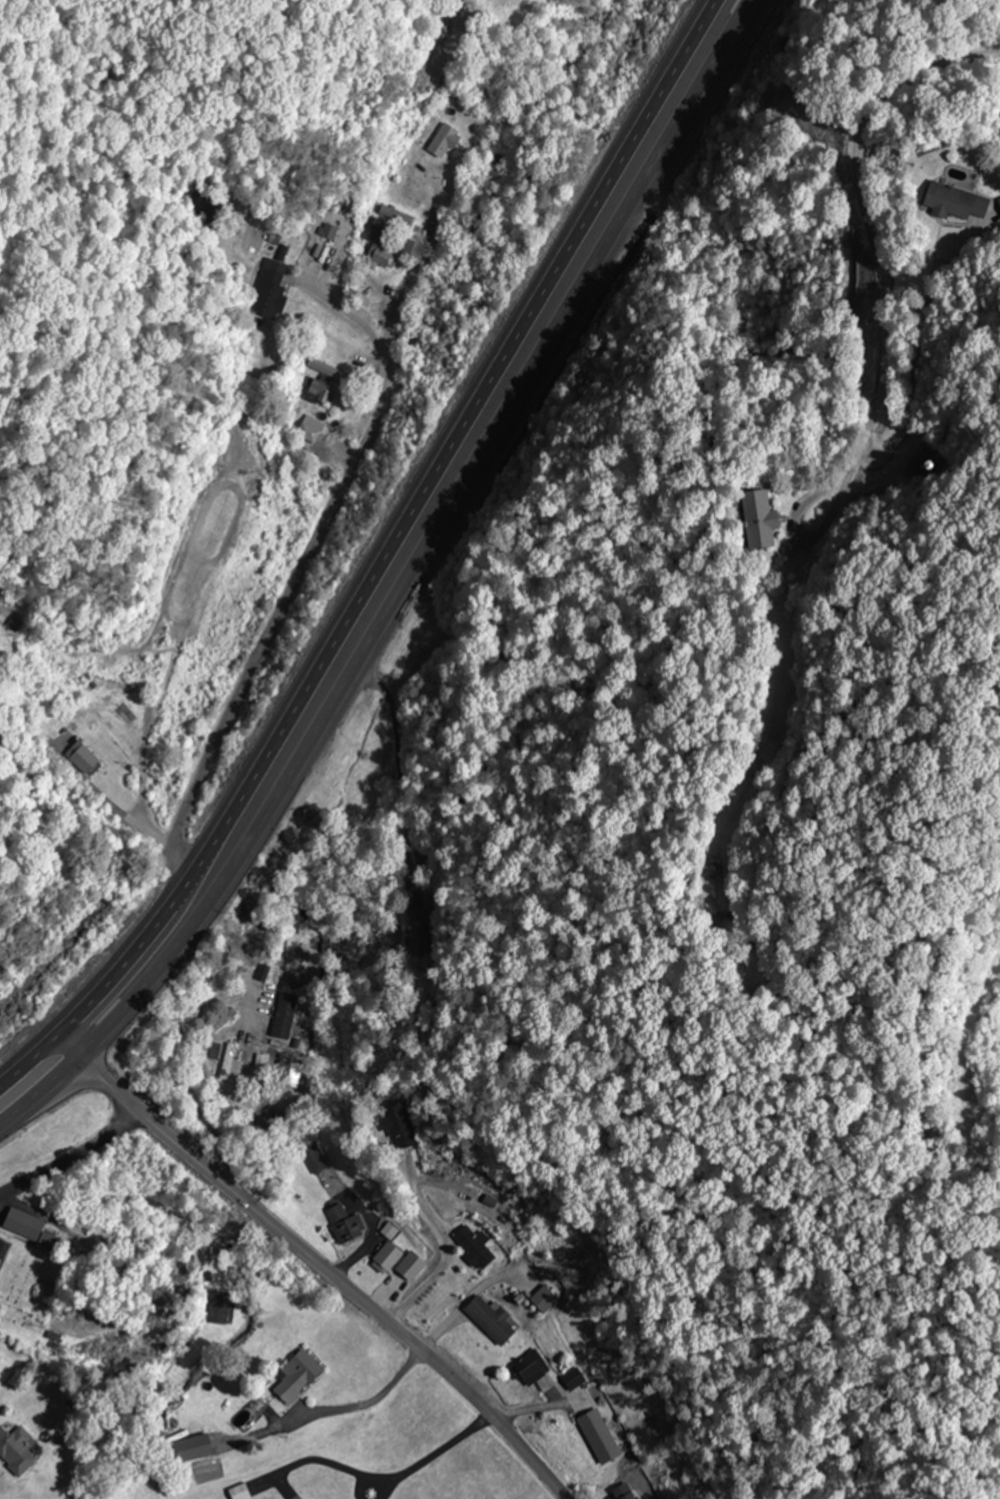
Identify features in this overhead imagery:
building: (441, 141)
building: (952, 203)
road: (865, 212)
building: (394, 215)
building: (373, 228)
building: (378, 258)
building: (268, 292)
building: (325, 369)
building: (318, 392)
building: (307, 428)
building: (753, 517)
road: (376, 555)
road: (403, 584)
road: (277, 614)
building: (81, 756)
building: (417, 933)
building: (283, 1015)
building: (222, 1020)
building: (209, 1050)
building: (261, 1060)
building: (232, 1070)
building: (289, 1073)
building: (393, 1130)
road: (68, 1155)
building: (314, 1157)
building: (344, 1223)
building: (26, 1226)
building: (473, 1246)
building: (2, 1249)
building: (386, 1251)
road: (308, 1261)
building: (411, 1267)
park: (29, 1285)
building: (214, 1292)
building: (541, 1298)
building: (488, 1319)
building: (0, 1365)
building: (529, 1368)
building: (294, 1375)
building: (597, 1436)
building: (189, 1448)
building: (15, 1449)
building: (237, 1492)
building: (623, 1492)

